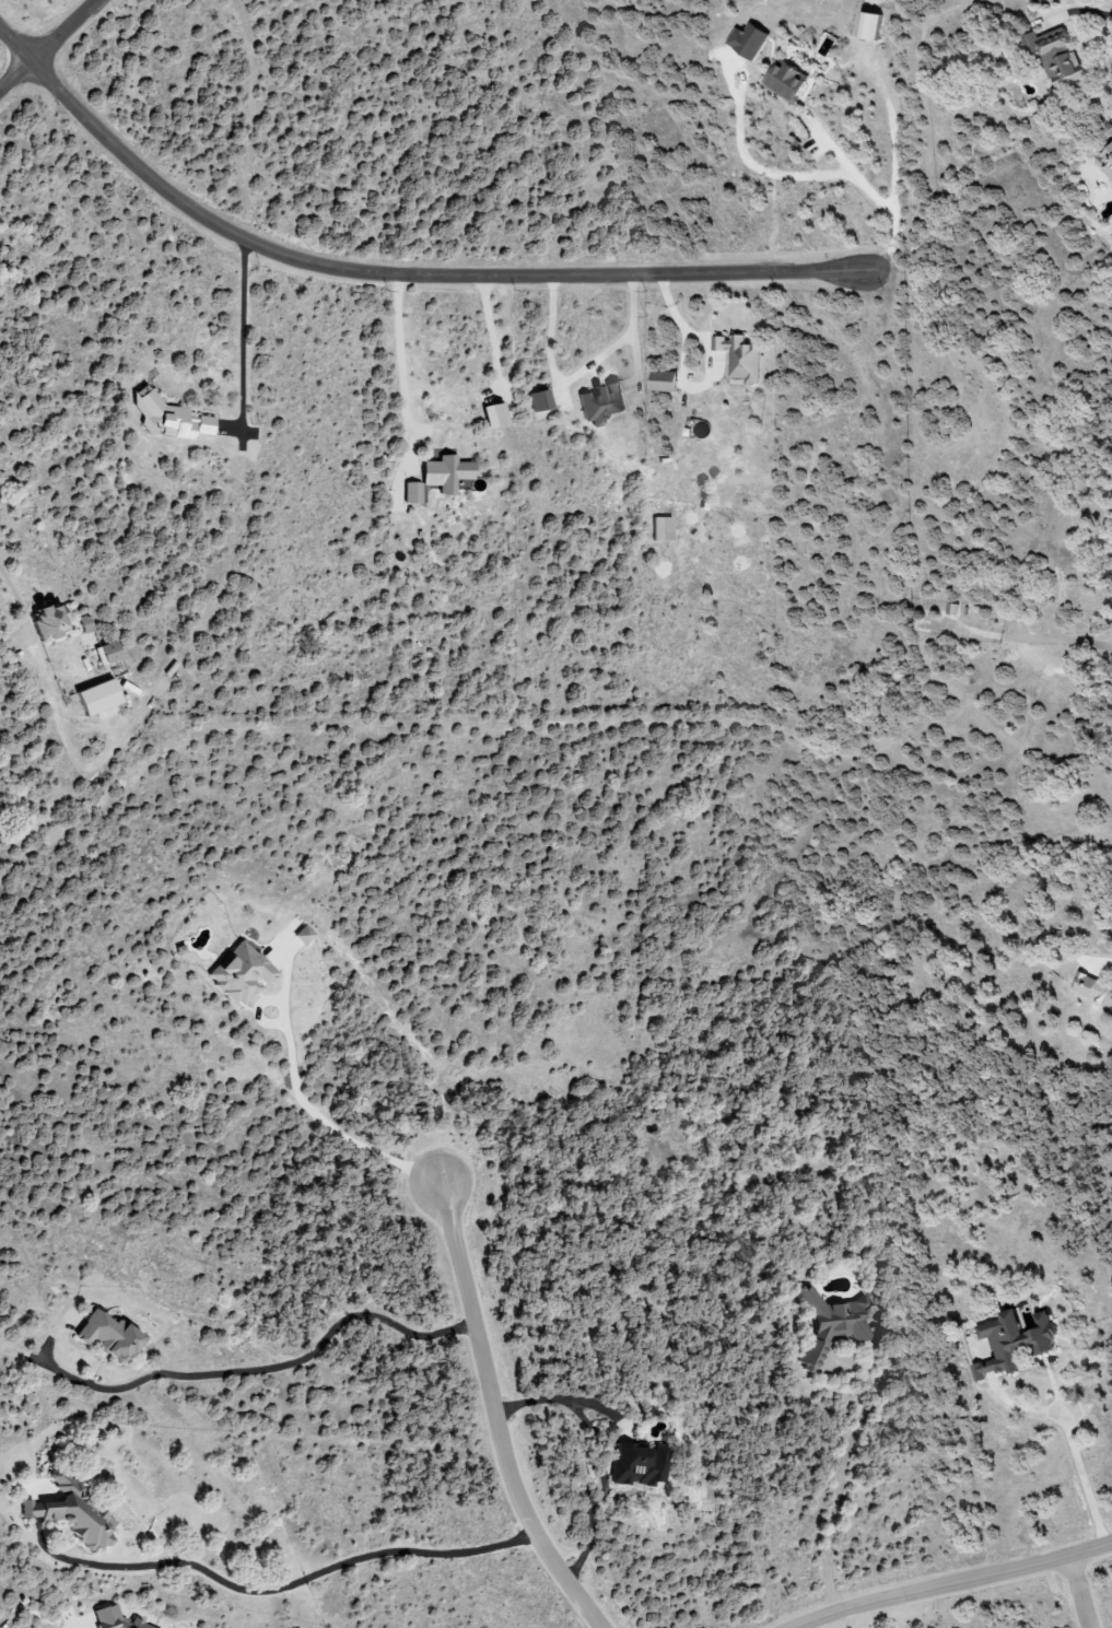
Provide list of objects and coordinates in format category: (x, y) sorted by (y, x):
road: (1093, 14)
building: (867, 26)
building: (747, 42)
road: (47, 45)
building: (1056, 56)
building: (783, 81)
building: (1108, 160)
road: (393, 276)
road: (242, 335)
building: (740, 356)
road: (402, 368)
road: (580, 370)
building: (663, 382)
building: (538, 399)
building: (601, 402)
building: (492, 413)
building: (168, 420)
building: (444, 473)
building: (411, 492)
building: (660, 529)
road: (16, 587)
building: (48, 619)
building: (84, 623)
road: (1066, 642)
building: (107, 652)
building: (94, 698)
building: (301, 935)
building: (239, 972)
road: (377, 989)
building: (1095, 991)
road: (330, 1117)
building: (830, 1323)
building: (104, 1335)
building: (1014, 1340)
road: (266, 1367)
road: (493, 1415)
road: (605, 1455)
building: (637, 1464)
road: (842, 1483)
road: (1087, 1483)
building: (70, 1515)
road: (952, 1584)
road: (277, 1585)
road: (1079, 1593)
building: (113, 1618)
road: (68, 1624)
road: (804, 1627)

